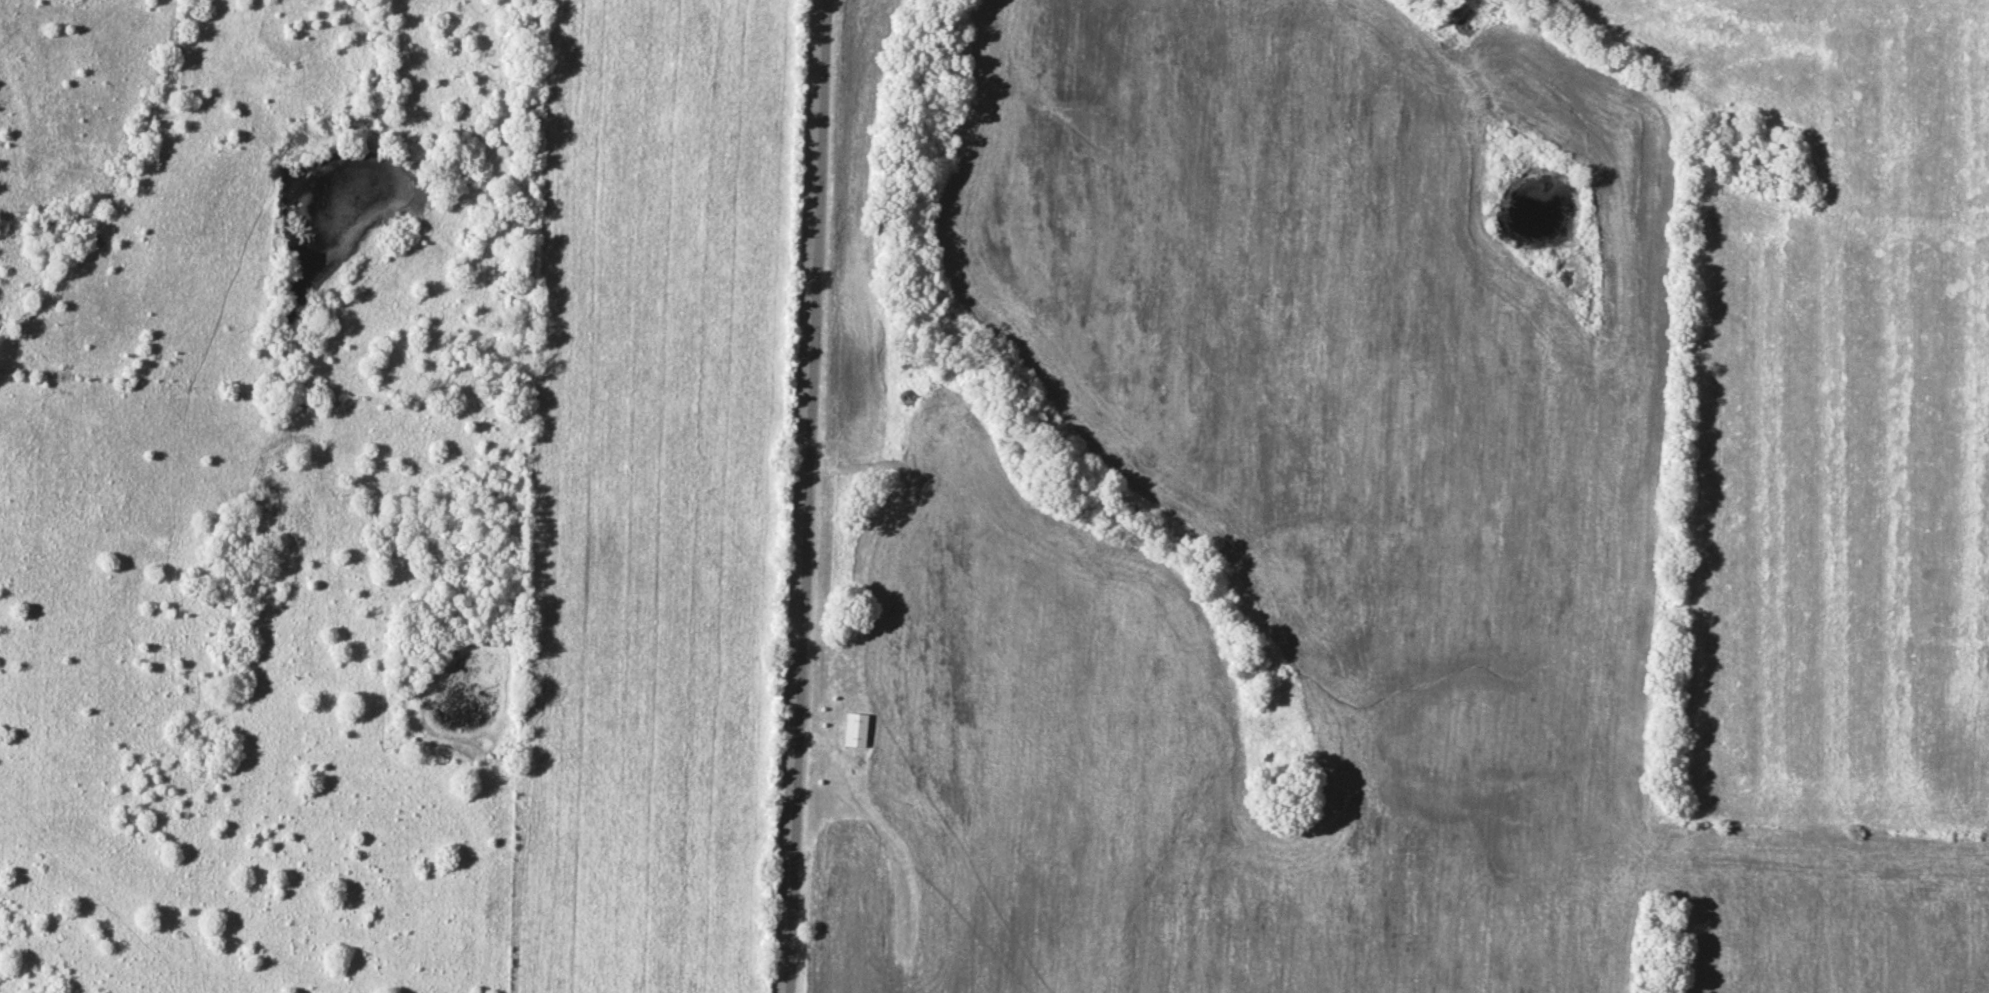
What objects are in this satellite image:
crop: (659, 495)
road: (806, 496)
building: (853, 730)

